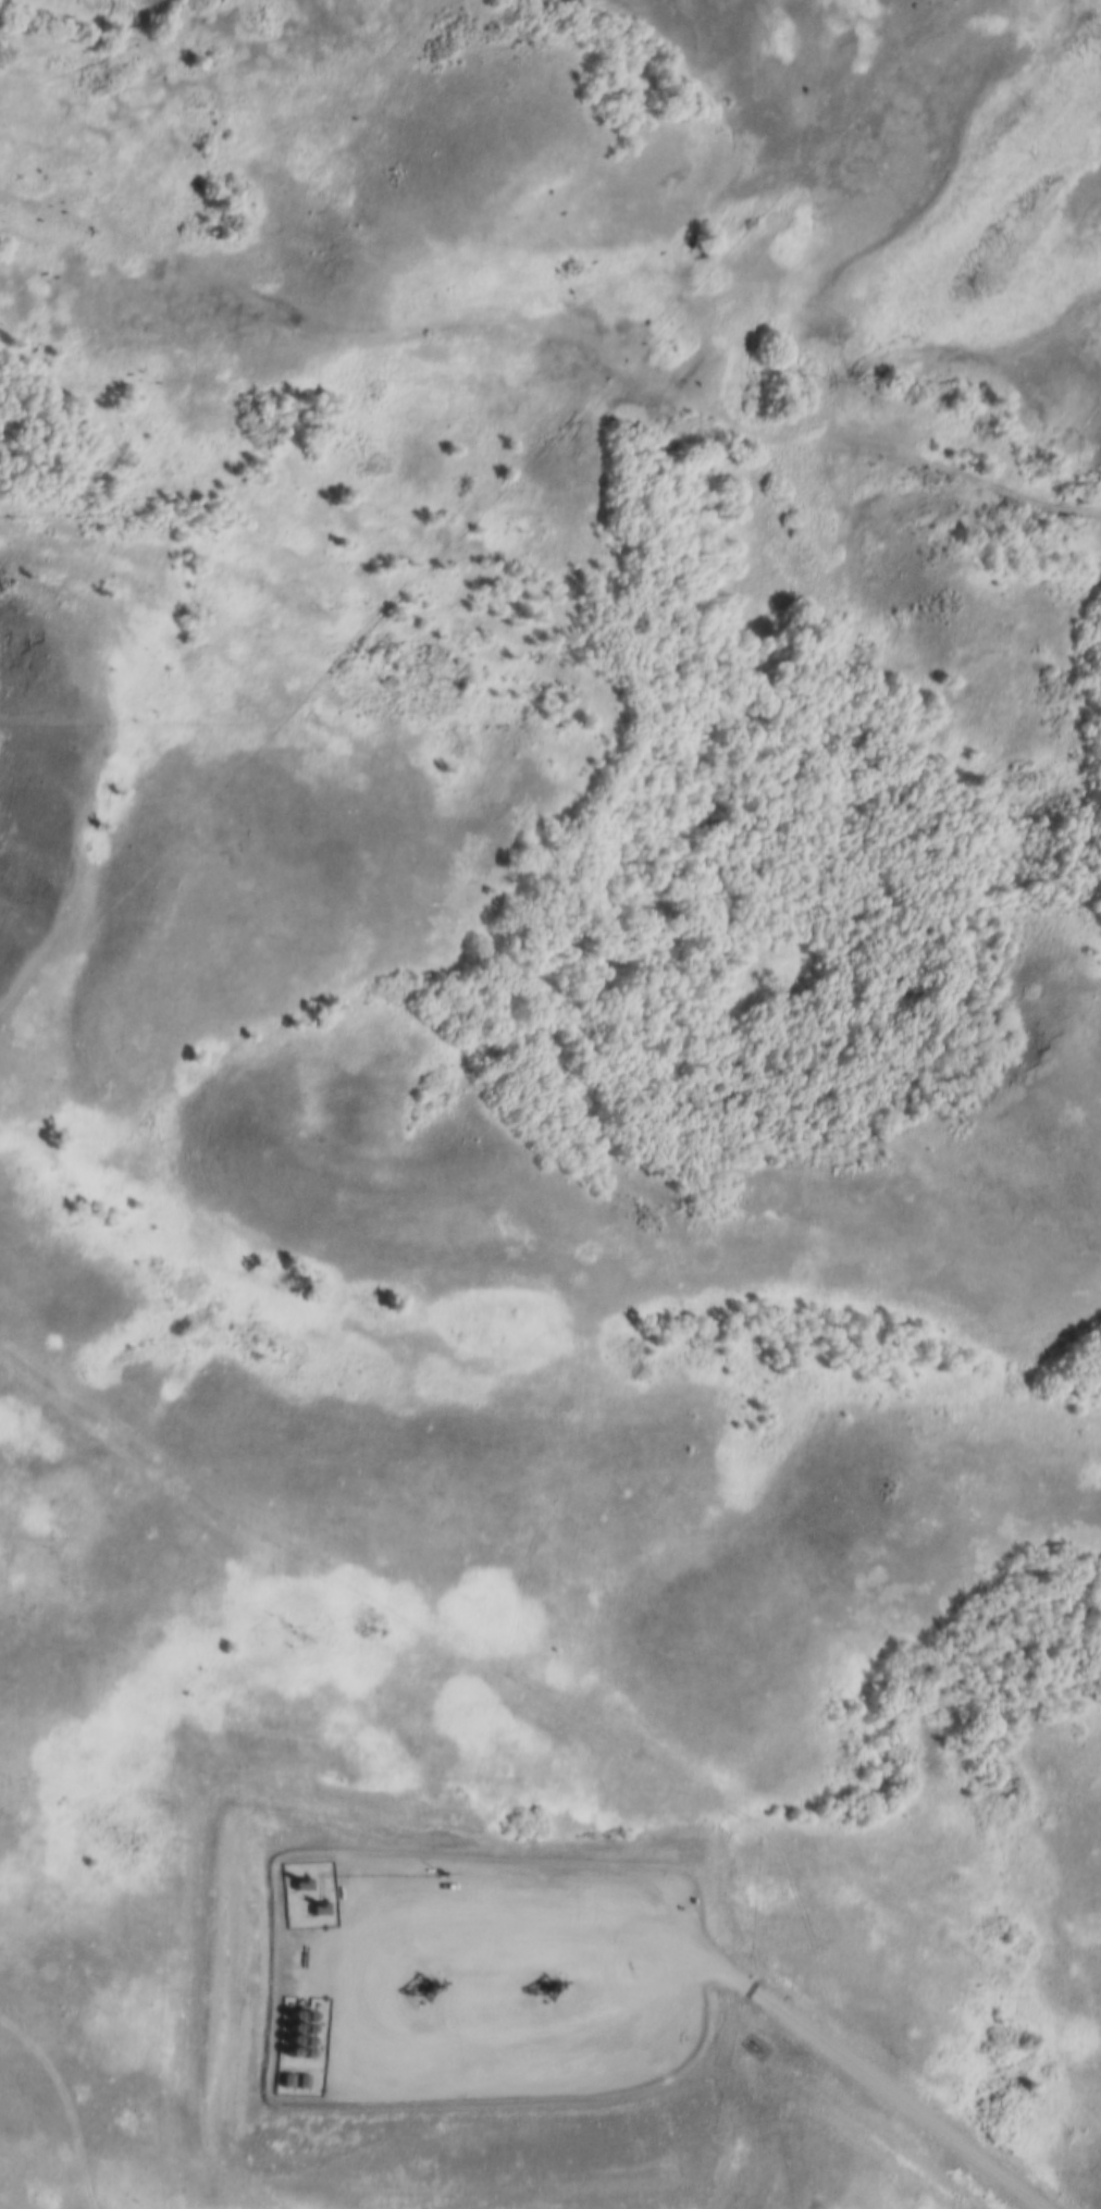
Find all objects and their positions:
petroleum well: (421, 1987)
petroleum well: (543, 1989)
building: (290, 2015)
storage tank: (290, 2015)
building: (304, 2017)
storage tank: (304, 2017)
building: (289, 2027)
storage tank: (289, 2027)
building: (304, 2029)
storage tank: (304, 2029)
building: (289, 2039)
storage tank: (289, 2039)
building: (304, 2041)
storage tank: (304, 2041)
building: (288, 2052)
storage tank: (288, 2052)
building: (302, 2053)
storage tank: (302, 2053)
road: (880, 2072)
building: (286, 2074)
building: (301, 2075)

